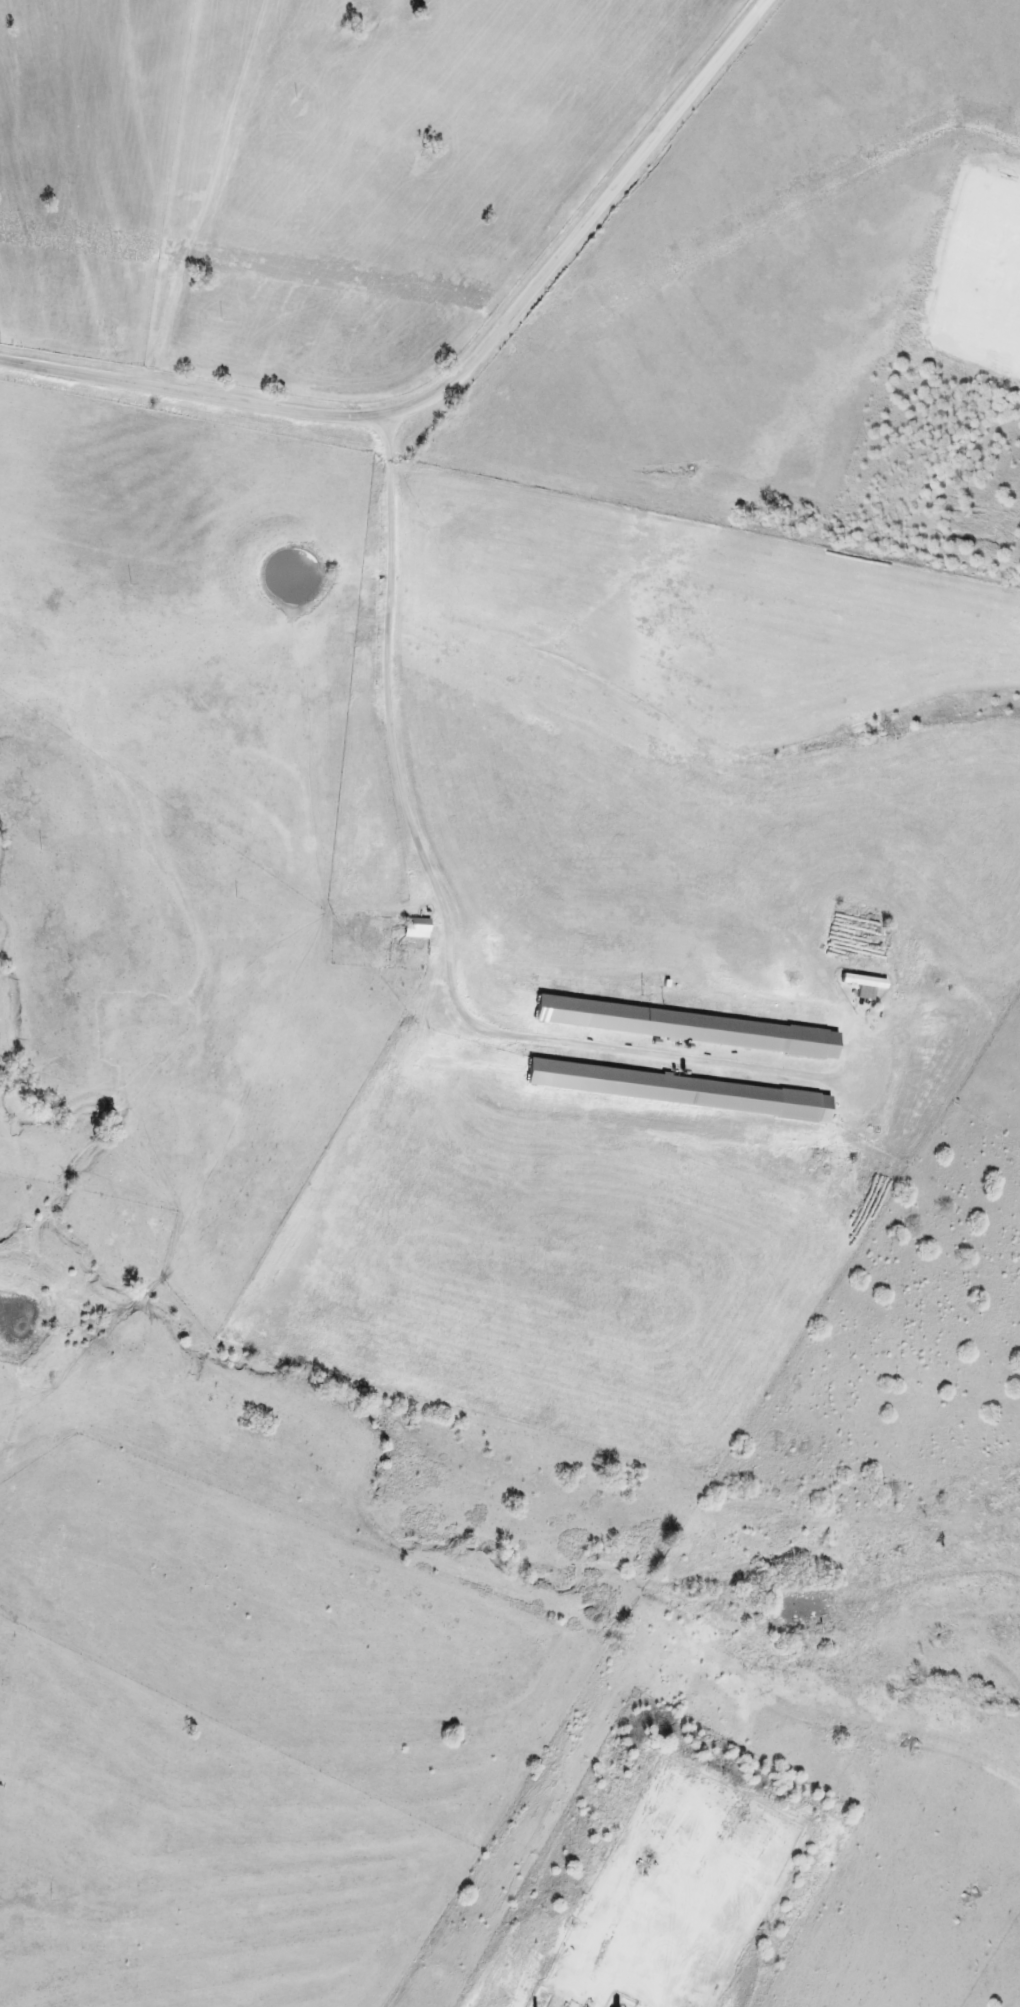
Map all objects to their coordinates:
road: (464, 369)
building: (413, 927)
building: (861, 984)
building: (680, 1026)
building: (672, 1090)

